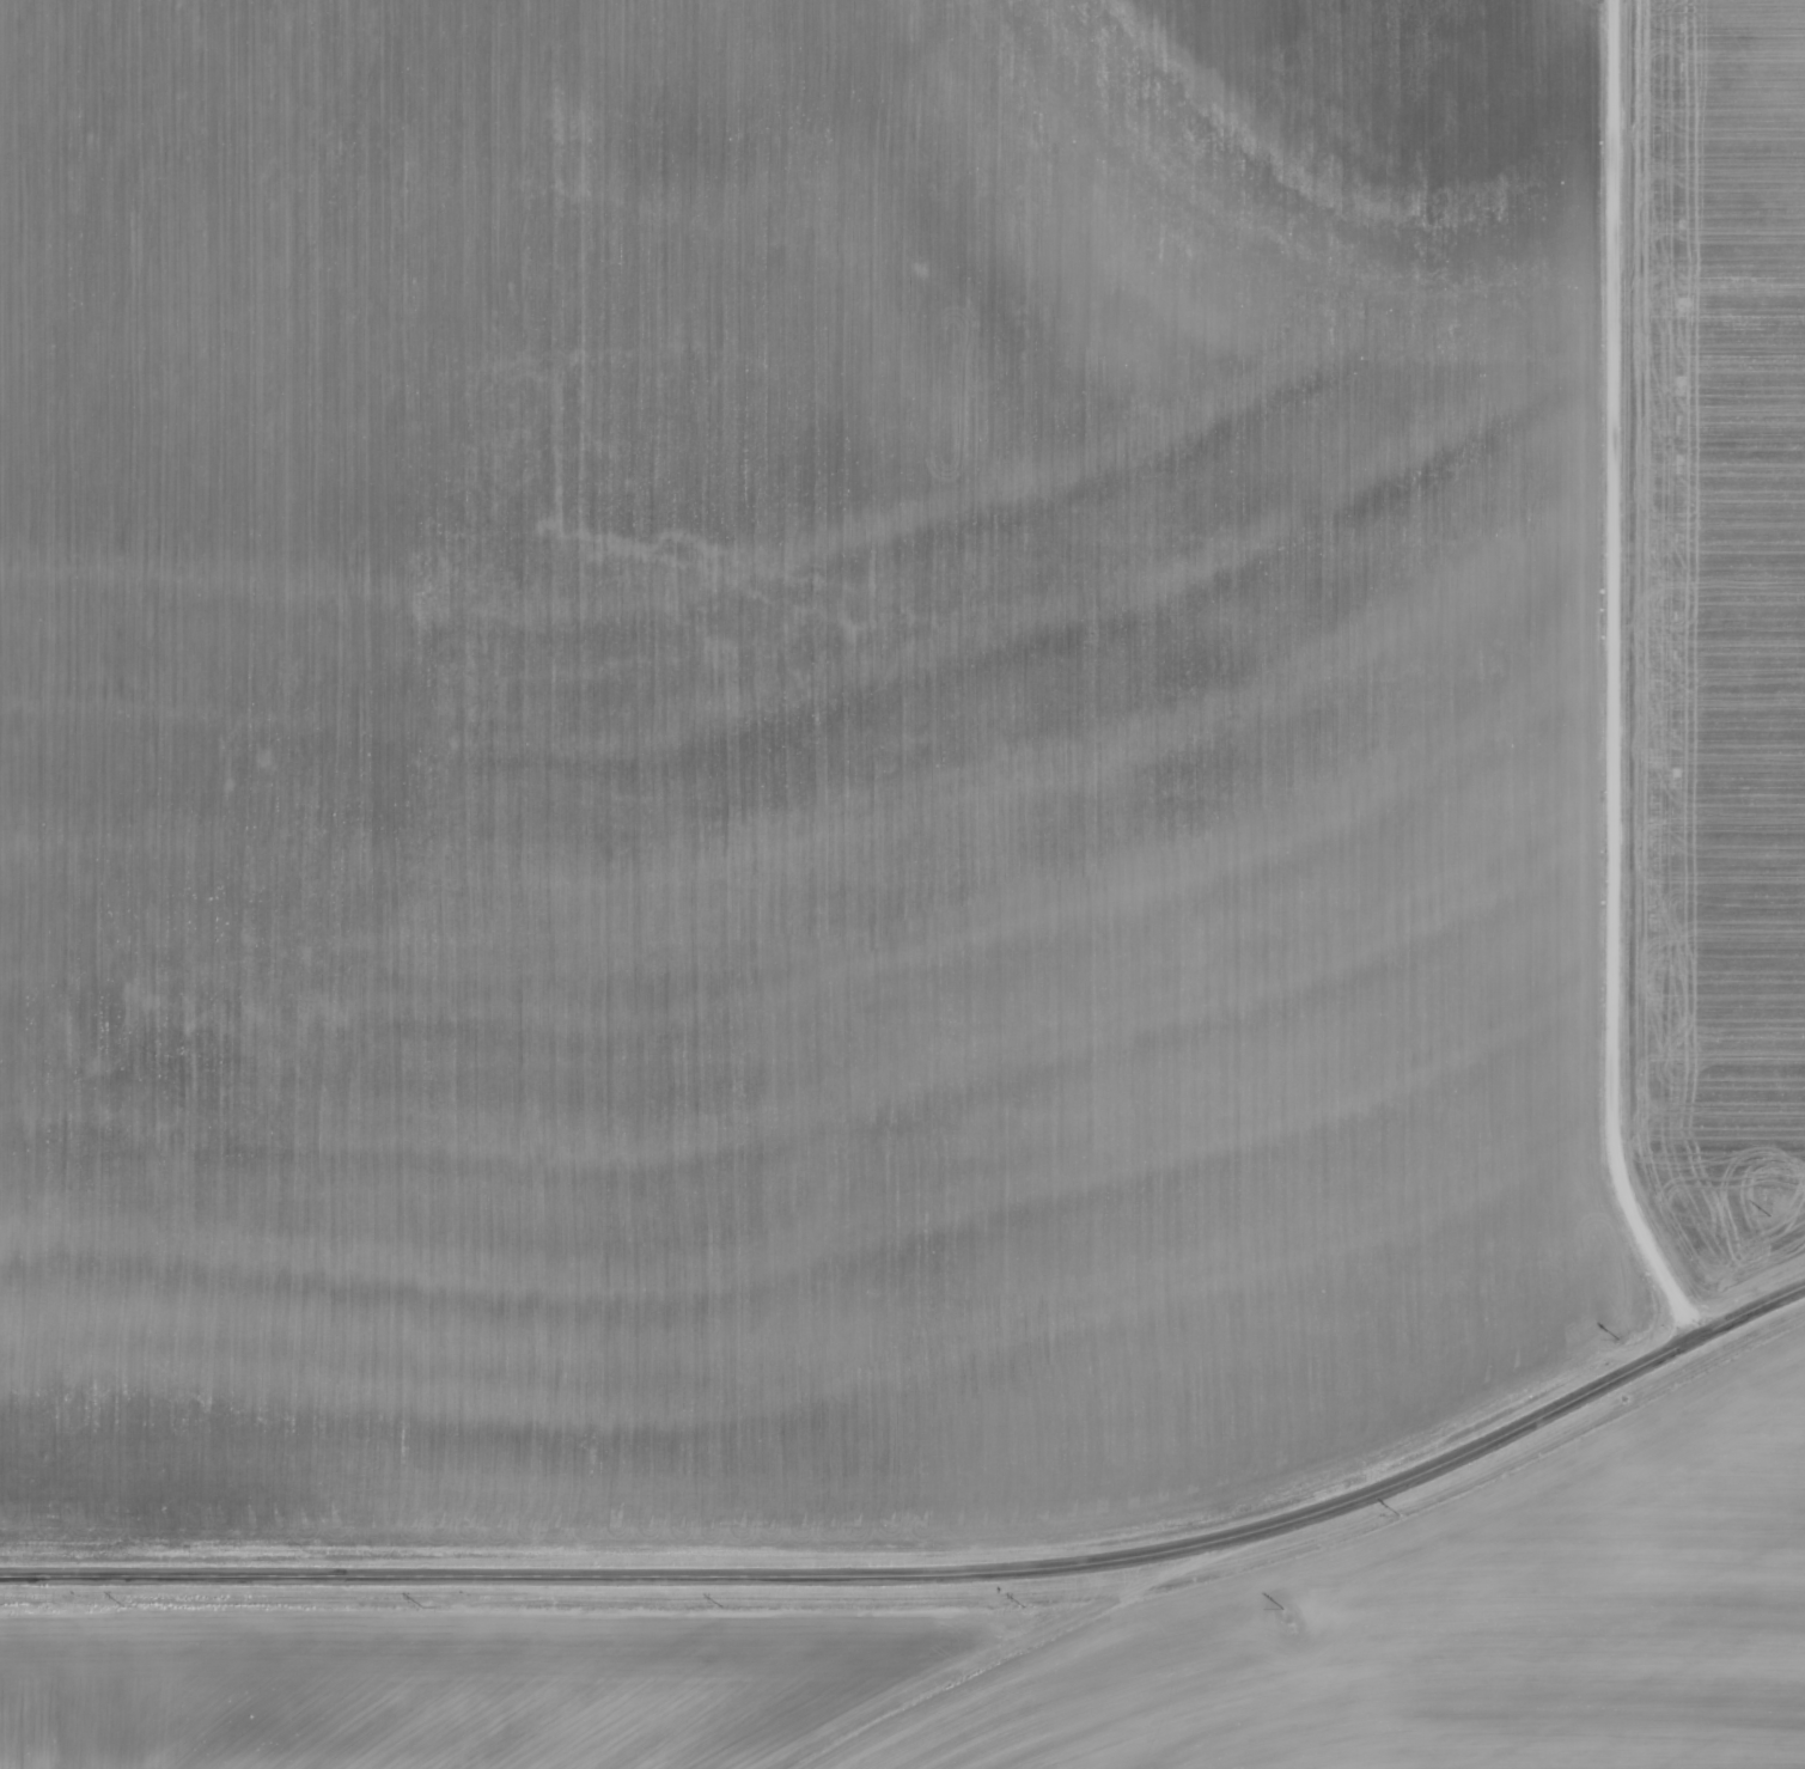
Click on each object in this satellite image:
road: (1598, 690)
road: (932, 1581)

